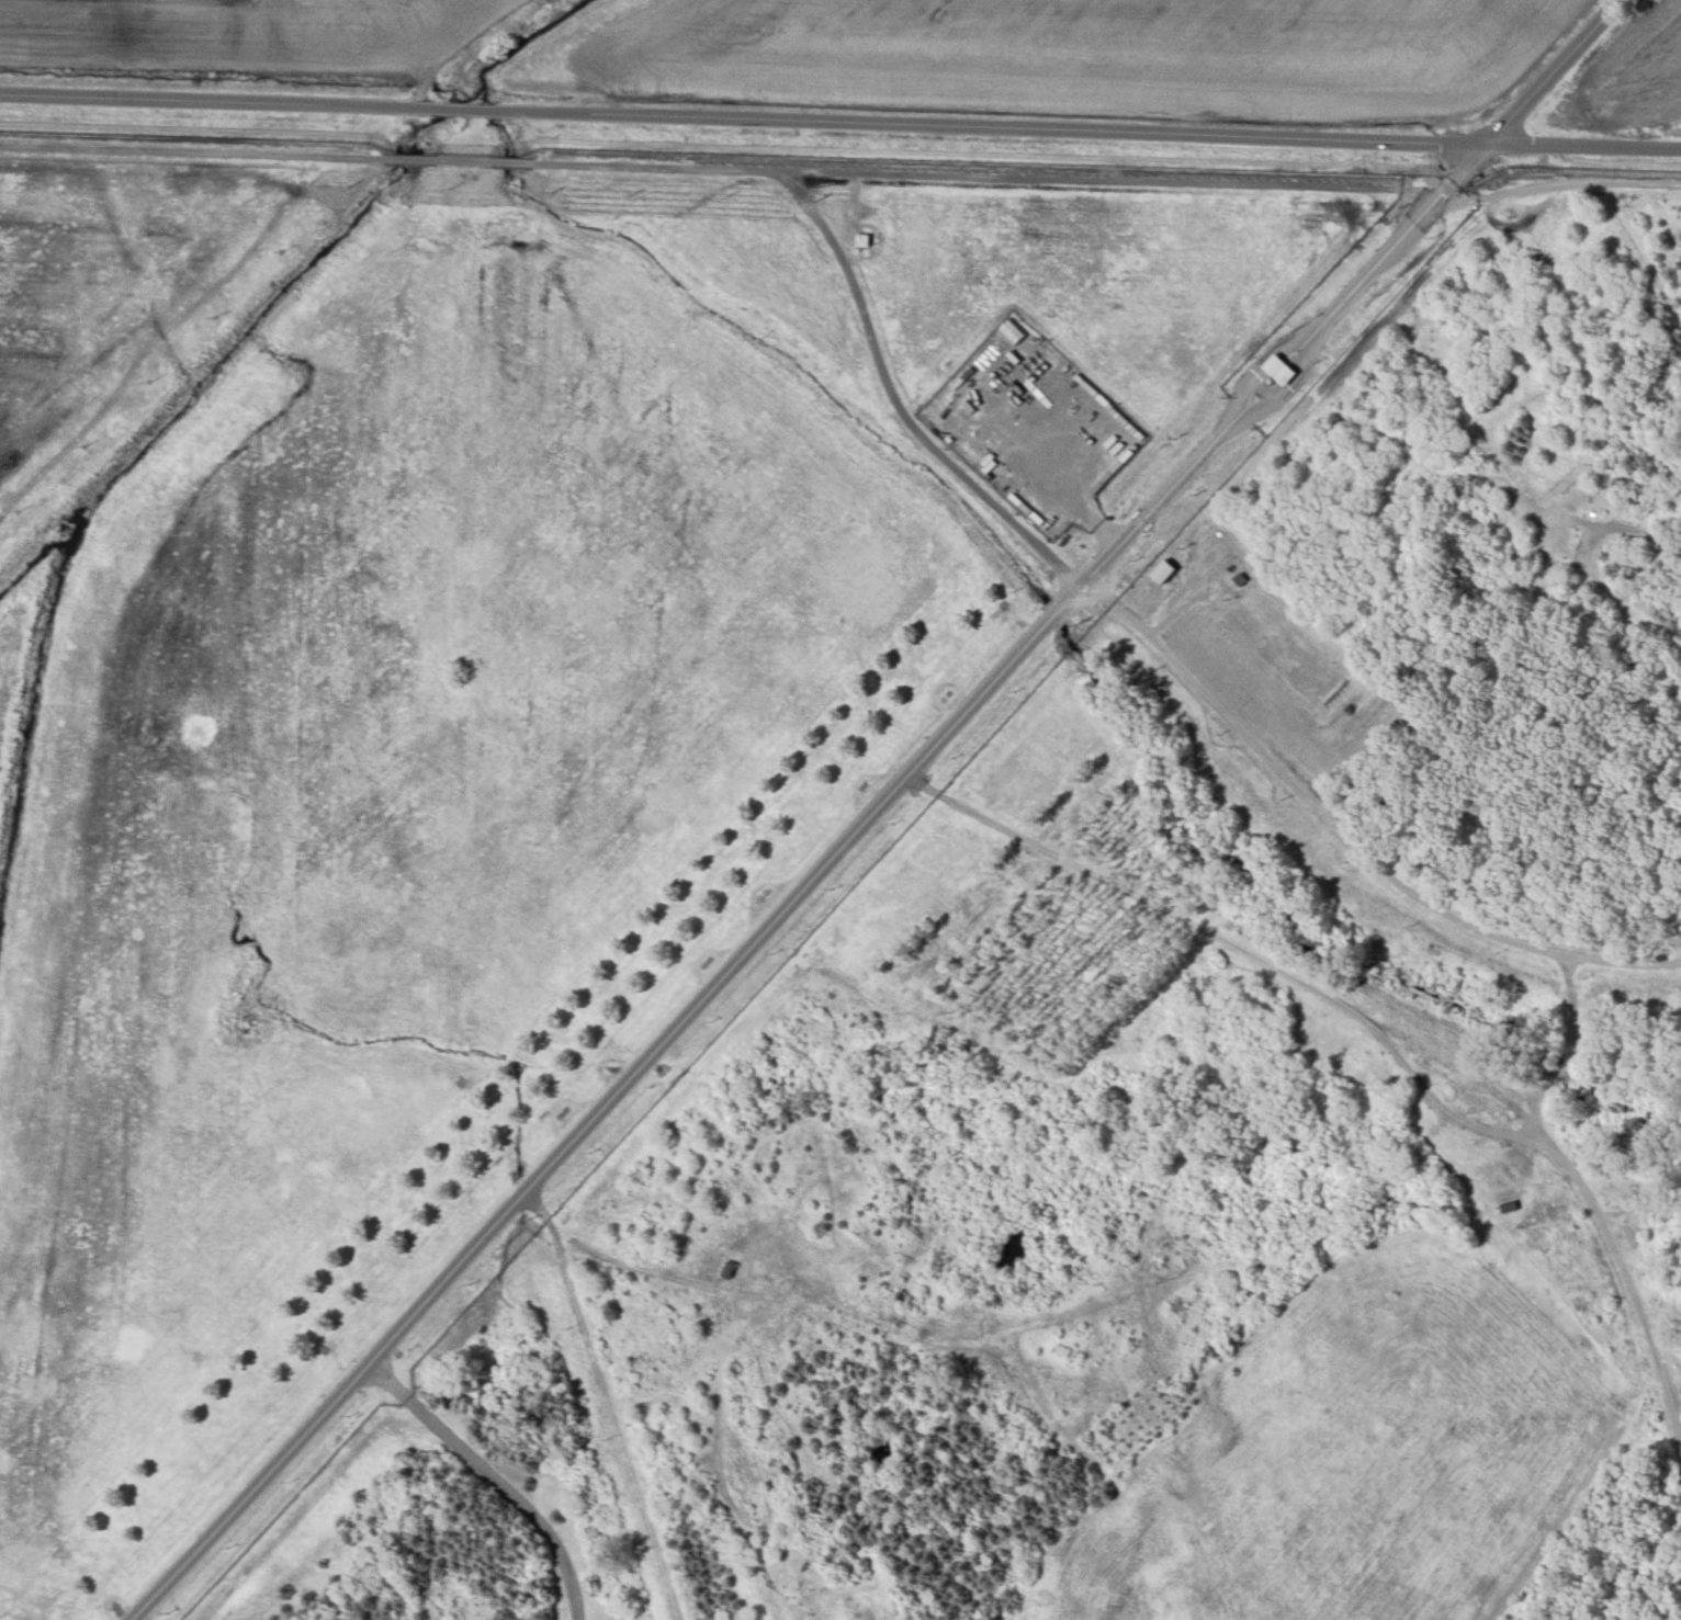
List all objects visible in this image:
crop: (251, 33)
crop: (1090, 50)
road: (1552, 75)
crop: (1624, 81)
road: (742, 120)
road: (1581, 146)
road: (196, 151)
road: (408, 158)
road: (1467, 165)
road: (1054, 180)
road: (1388, 251)
road: (842, 257)
road: (1261, 369)
building: (1279, 370)
road: (1286, 393)
road: (933, 446)
road: (1622, 528)
building: (1162, 571)
road: (1346, 838)
road: (1225, 944)
road: (674, 1028)
road: (1570, 1051)
road: (1626, 1278)
road: (490, 1477)

